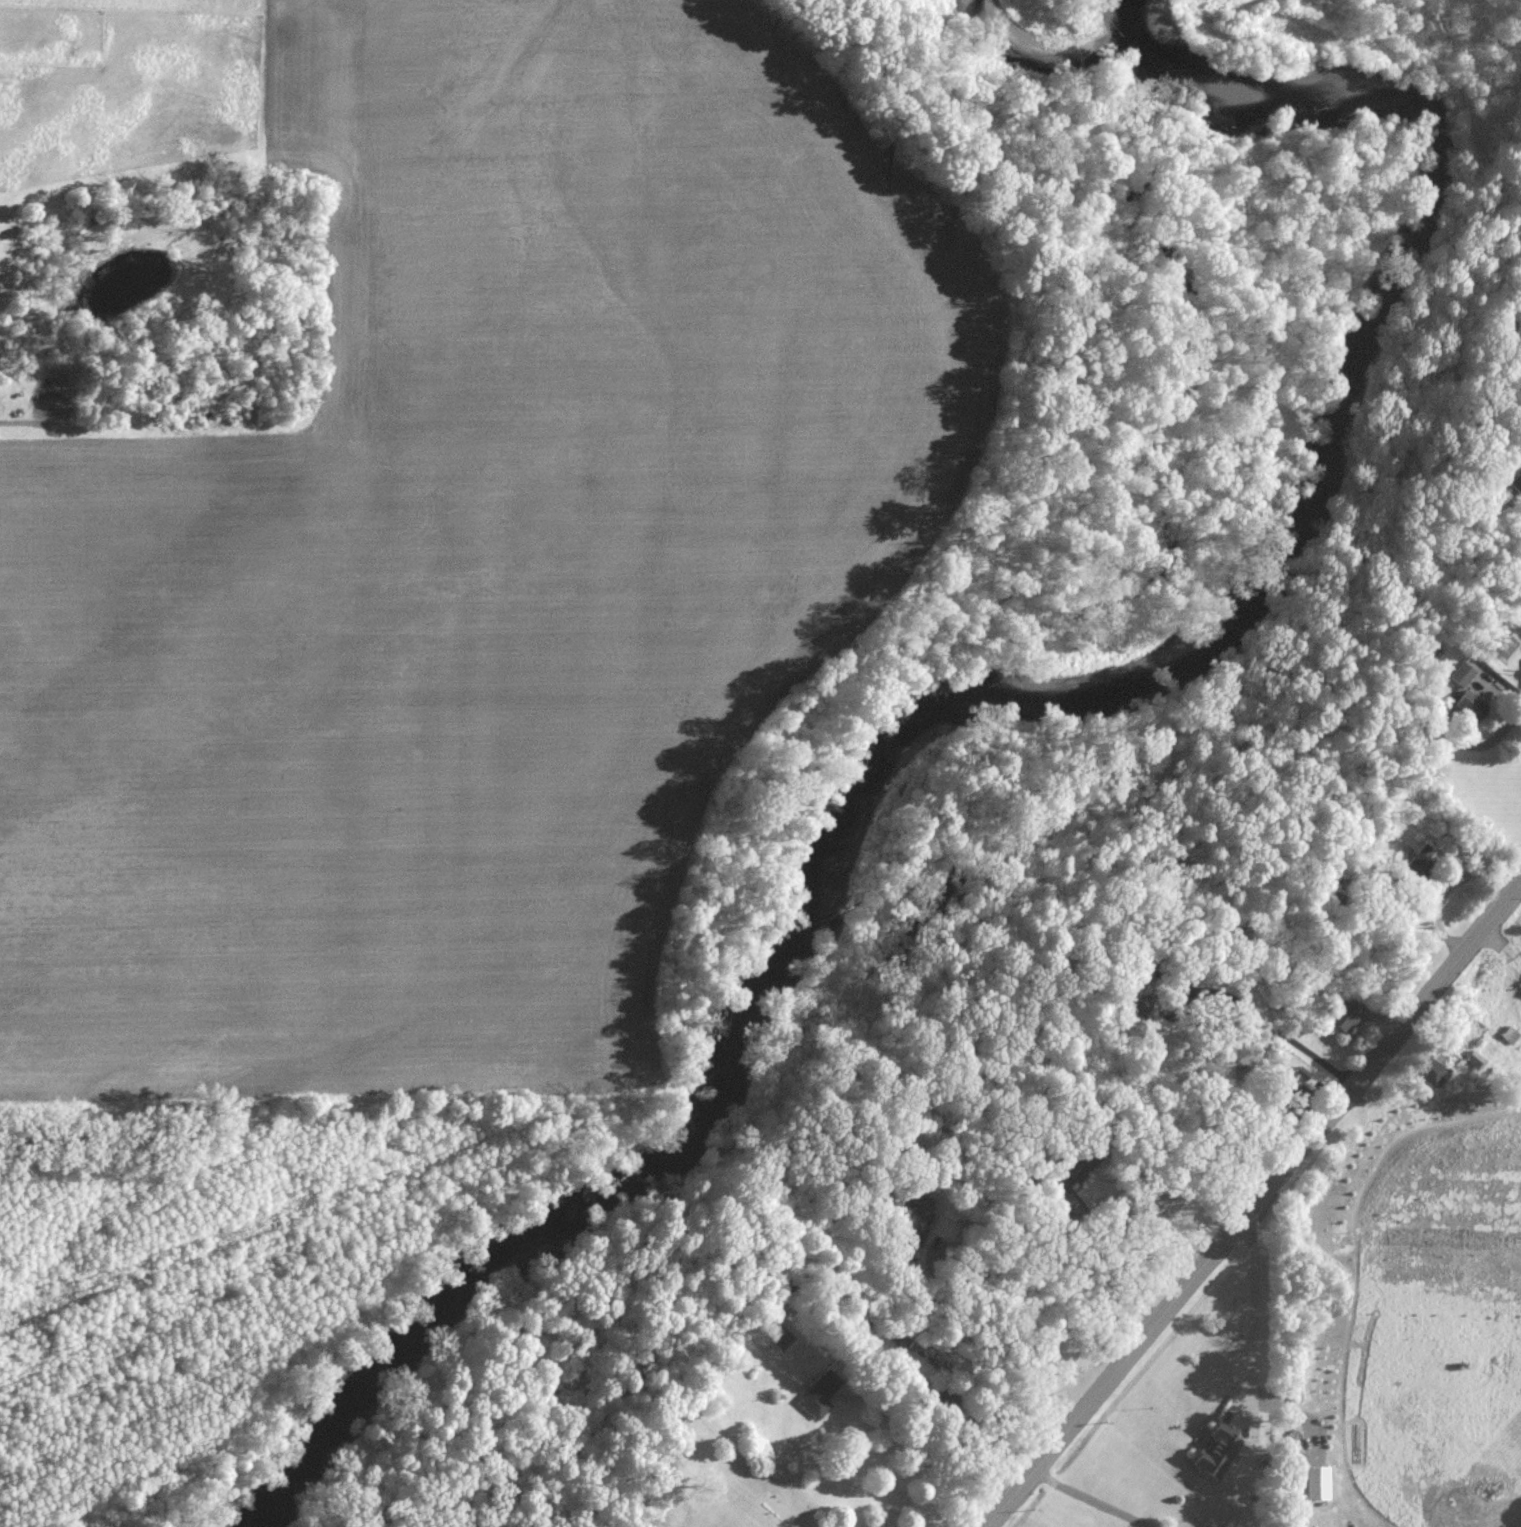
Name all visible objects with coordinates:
road: (2, 423)
building: (1519, 475)
building: (1460, 675)
road: (1515, 692)
river: (1007, 693)
building: (1468, 706)
building: (1415, 864)
road: (1444, 884)
building: (1520, 985)
building: (1137, 992)
road: (1237, 1004)
building: (1345, 1022)
building: (1427, 1070)
road: (1253, 1204)
road: (1106, 1272)
road: (1262, 1311)
road: (964, 1354)
building: (817, 1395)
road: (995, 1424)
road: (917, 1450)
building: (1316, 1484)
road: (1090, 1500)

